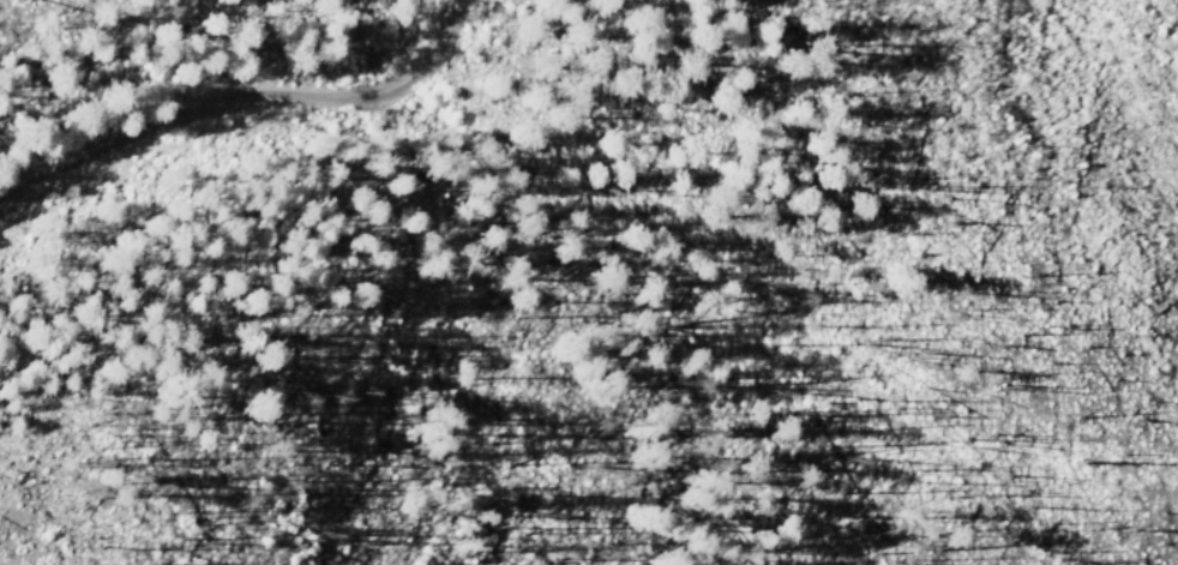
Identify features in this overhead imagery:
road: (233, 174)

